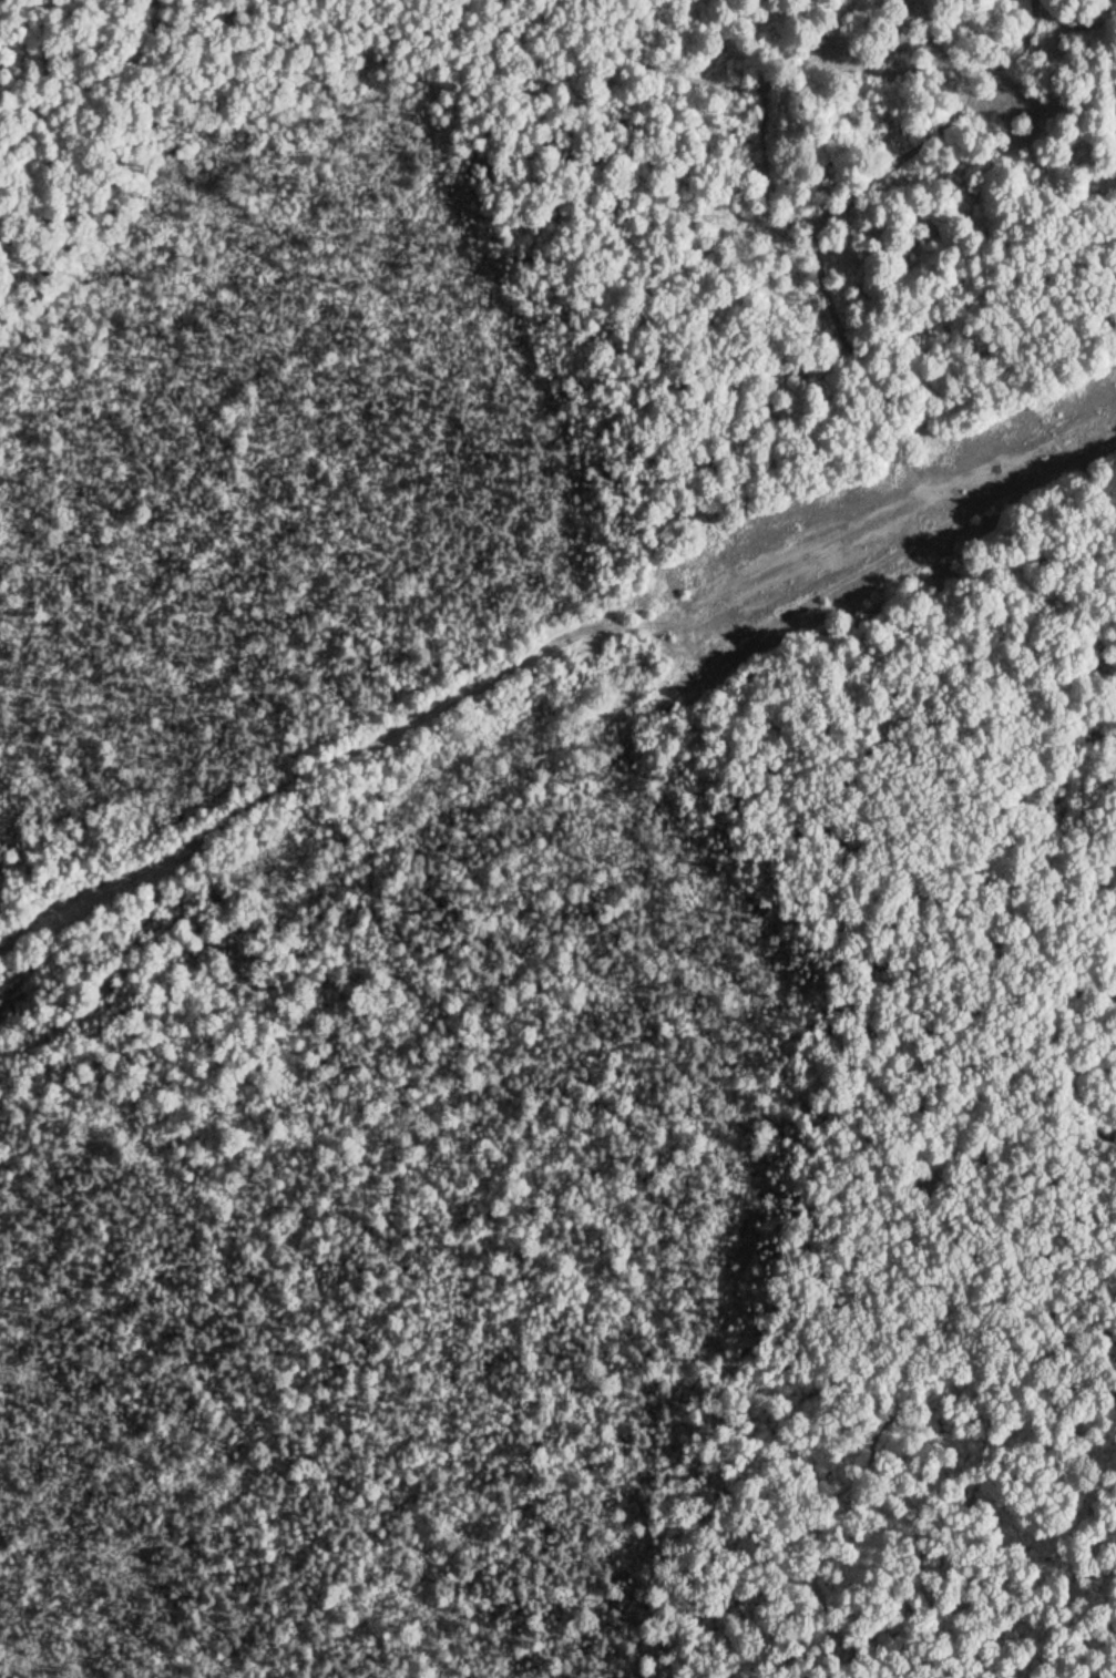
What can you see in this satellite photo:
road: (829, 298)

